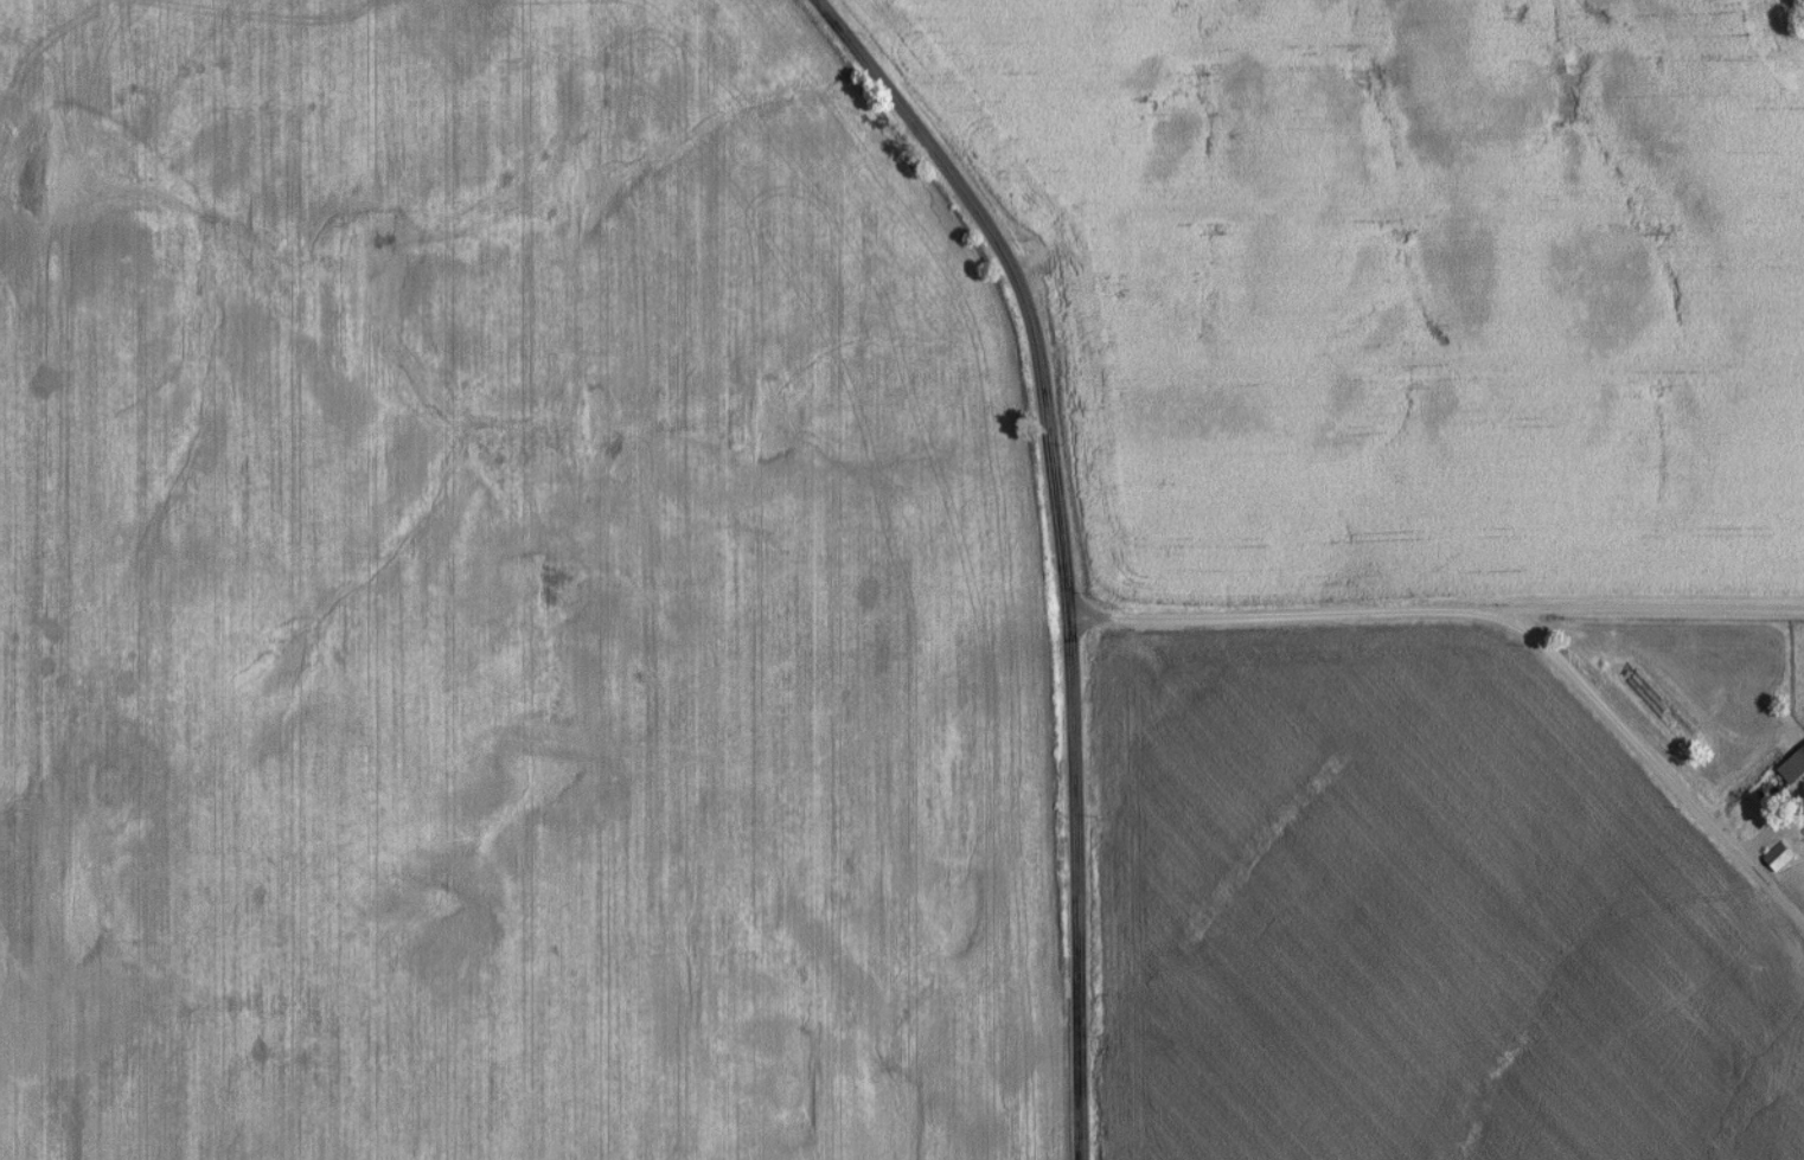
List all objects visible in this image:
road: (1063, 546)
road: (1658, 608)
road: (1505, 616)
building: (1791, 769)
building: (1773, 860)

